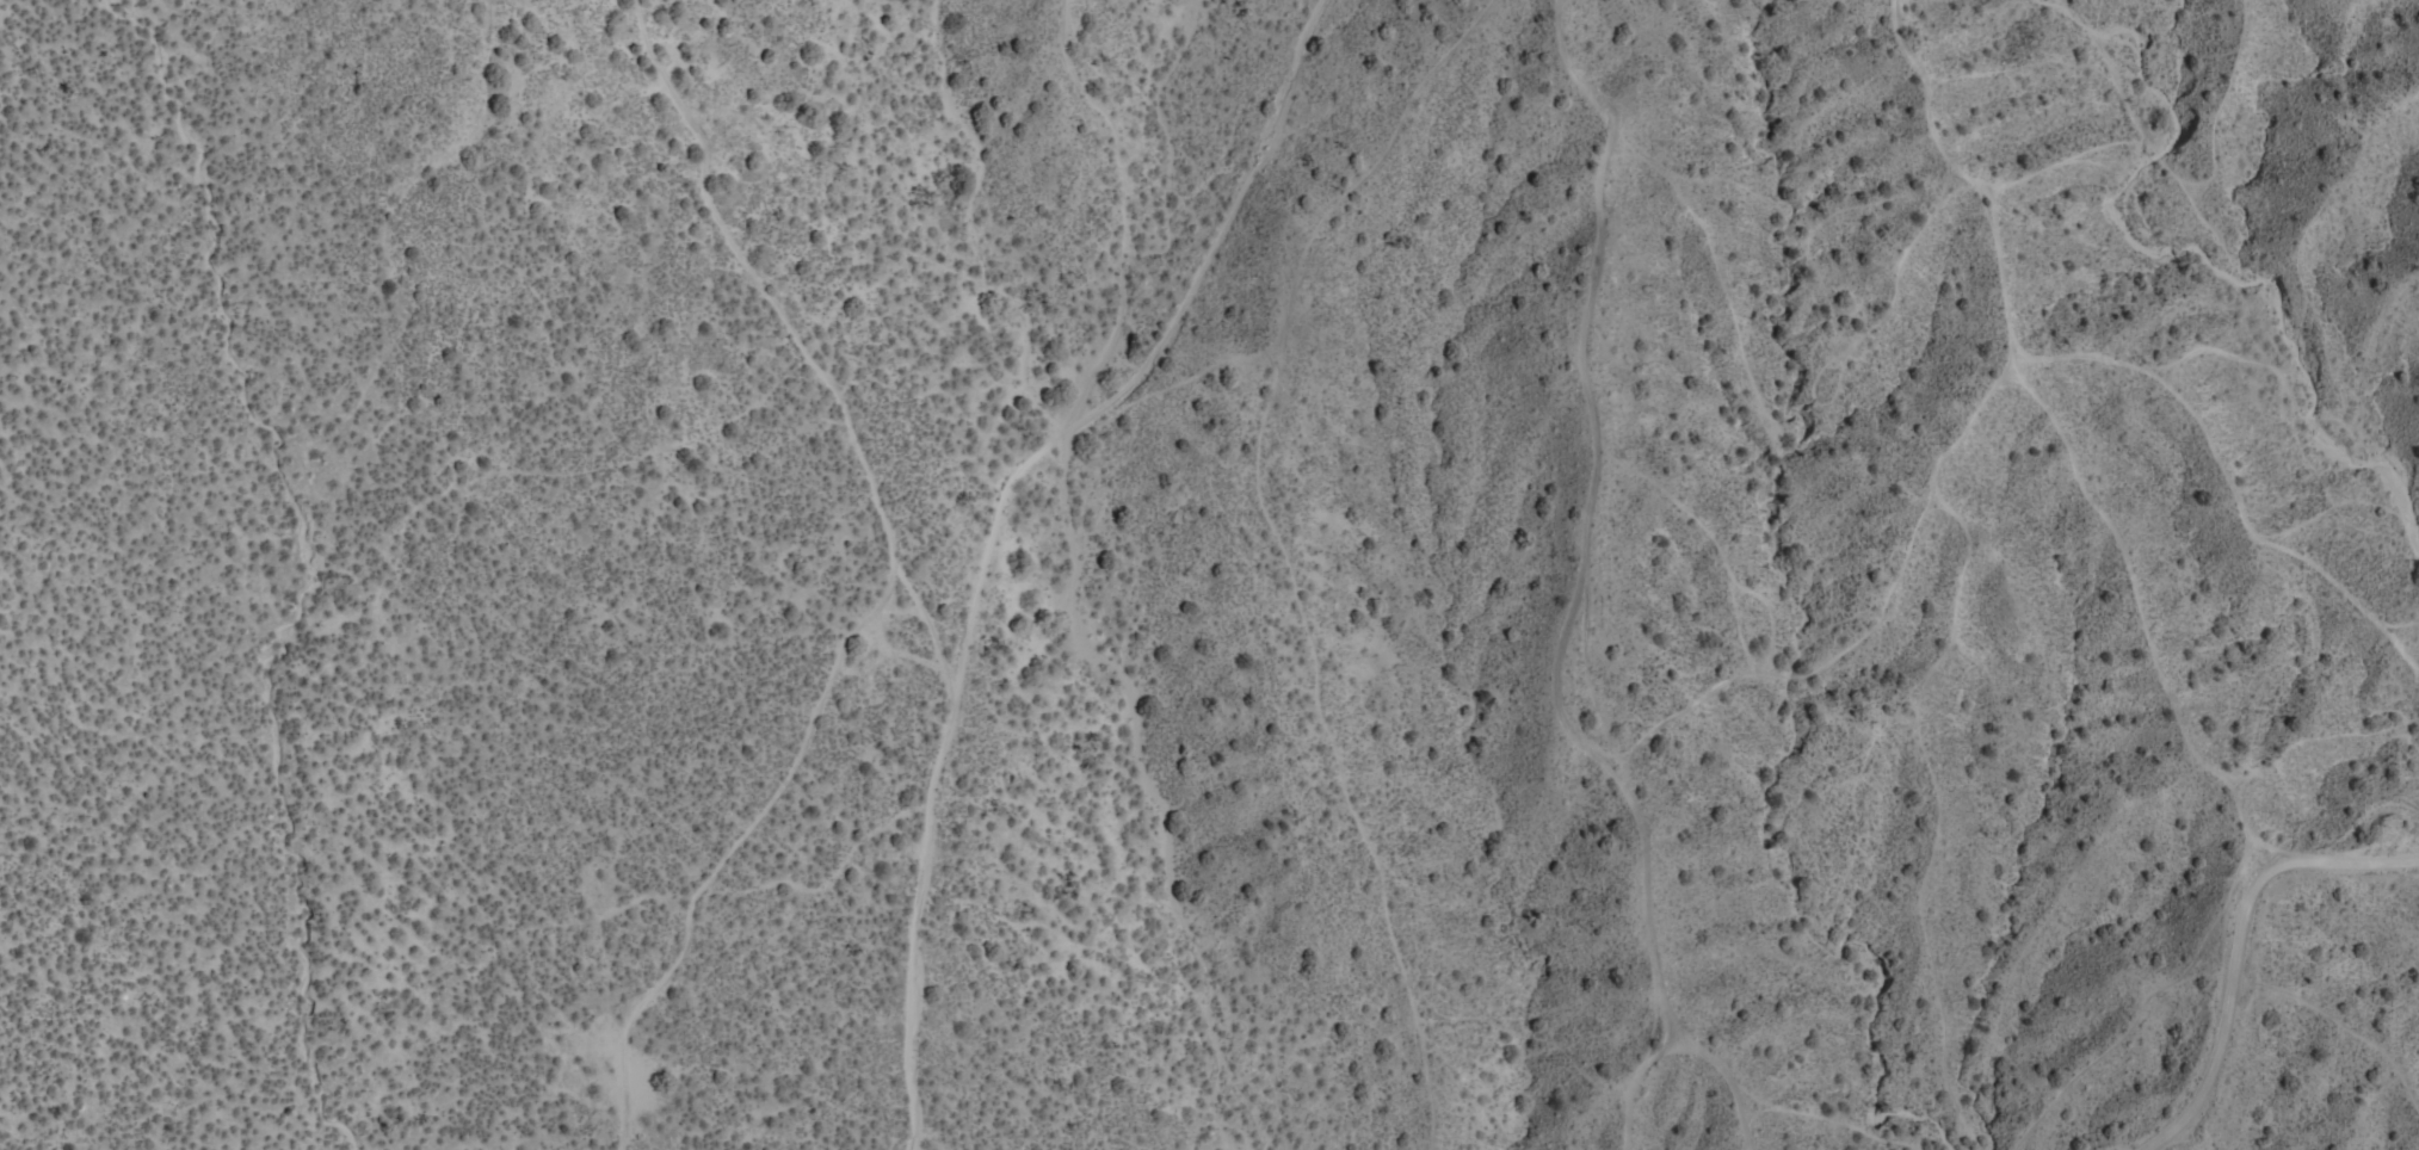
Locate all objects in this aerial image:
road: (1566, 591)
road: (2229, 942)

